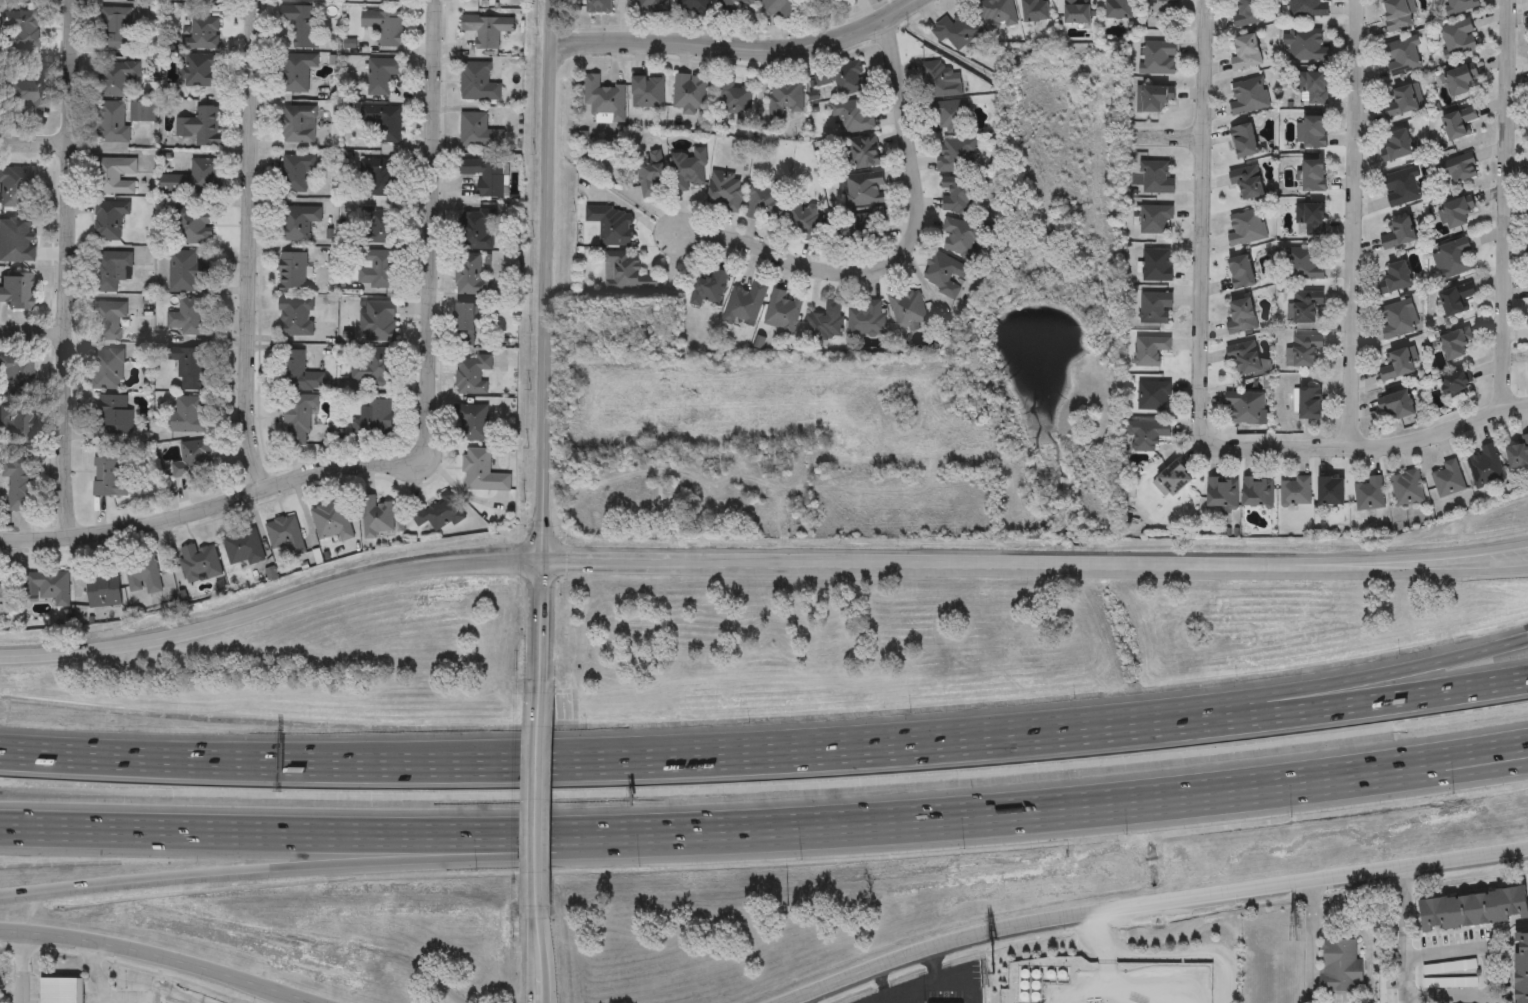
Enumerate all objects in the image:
building: (385, 0)
building: (480, 0)
building: (204, 1)
building: (297, 1)
building: (652, 5)
building: (598, 6)
building: (694, 6)
building: (731, 6)
building: (1161, 6)
building: (1458, 6)
building: (778, 8)
building: (1307, 8)
building: (1118, 9)
building: (1035, 10)
building: (996, 12)
building: (1077, 12)
building: (1247, 13)
building: (1396, 14)
building: (385, 27)
building: (298, 28)
building: (956, 29)
building: (486, 30)
building: (203, 34)
building: (1458, 38)
building: (1306, 45)
road: (734, 47)
building: (1244, 52)
building: (1401, 56)
building: (1157, 57)
building: (200, 72)
building: (297, 72)
building: (382, 75)
building: (845, 77)
building: (939, 80)
building: (1459, 81)
building: (477, 82)
building: (1312, 88)
building: (646, 91)
building: (688, 93)
building: (1247, 95)
building: (784, 97)
building: (1152, 98)
building: (603, 99)
building: (733, 100)
building: (1401, 101)
building: (853, 114)
building: (950, 115)
building: (383, 122)
building: (1457, 122)
building: (298, 125)
building: (200, 127)
building: (477, 132)
building: (1309, 132)
road: (33, 140)
building: (1243, 141)
building: (1396, 145)
building: (863, 152)
building: (955, 154)
building: (688, 168)
building: (1458, 168)
building: (295, 173)
building: (650, 174)
building: (1312, 175)
building: (485, 176)
building: (1155, 177)
building: (194, 178)
building: (379, 178)
building: (1246, 181)
building: (1400, 188)
building: (864, 189)
building: (724, 190)
building: (958, 194)
building: (764, 201)
road: (1509, 205)
building: (1454, 213)
building: (1309, 218)
building: (1153, 219)
building: (297, 222)
building: (800, 222)
road: (1356, 223)
building: (610, 224)
building: (193, 226)
building: (857, 227)
building: (377, 228)
building: (1245, 228)
building: (476, 230)
road: (432, 231)
building: (1397, 234)
building: (960, 237)
road: (251, 246)
road: (902, 248)
building: (1453, 258)
building: (1303, 264)
building: (1156, 265)
road: (68, 270)
building: (108, 270)
building: (378, 270)
building: (185, 272)
building: (624, 272)
building: (1240, 272)
building: (292, 273)
building: (944, 274)
building: (469, 276)
building: (1394, 278)
building: (709, 286)
building: (1454, 299)
building: (745, 302)
building: (1153, 307)
building: (907, 308)
building: (1305, 308)
building: (782, 312)
building: (1240, 317)
building: (190, 318)
building: (296, 318)
building: (865, 319)
building: (107, 320)
building: (1395, 320)
building: (378, 322)
building: (824, 322)
building: (465, 325)
road: (33, 329)
road: (546, 341)
building: (1453, 343)
building: (1149, 350)
building: (1302, 351)
building: (1245, 358)
building: (1527, 360)
building: (1396, 364)
building: (190, 368)
building: (373, 368)
building: (107, 369)
building: (298, 373)
building: (471, 375)
road: (1199, 385)
building: (1453, 385)
building: (1152, 396)
building: (1306, 402)
building: (1395, 404)
building: (1244, 407)
building: (113, 414)
building: (188, 415)
building: (298, 419)
building: (373, 420)
building: (472, 423)
building: (1145, 435)
building: (1517, 453)
building: (193, 460)
building: (1483, 467)
building: (483, 473)
building: (1174, 478)
building: (108, 479)
building: (1446, 479)
building: (18, 480)
building: (1405, 488)
building: (1294, 491)
building: (1330, 491)
building: (1256, 492)
building: (1221, 493)
building: (1368, 494)
road: (205, 508)
building: (437, 516)
building: (377, 519)
building: (333, 523)
building: (285, 535)
building: (242, 548)
building: (198, 563)
road: (759, 564)
road: (1271, 566)
road: (1406, 572)
building: (142, 574)
building: (50, 586)
building: (102, 590)
road: (1292, 690)
road: (1292, 713)
road: (874, 744)
road: (346, 760)
road: (1371, 767)
road: (1371, 781)
road: (540, 796)
road: (608, 833)
road: (348, 863)
road: (1148, 904)
building: (1474, 911)
road: (1405, 933)
road: (1366, 939)
road: (1309, 940)
road: (1108, 943)
road: (1188, 953)
road: (539, 956)
road: (934, 956)
road: (160, 957)
road: (22, 967)
building: (1341, 967)
building: (1522, 968)
road: (1493, 971)
road: (94, 972)
road: (880, 980)
road: (959, 985)
road: (1089, 986)
road: (1138, 986)
road: (909, 989)
building: (58, 991)
road: (902, 997)
road: (801, 999)

